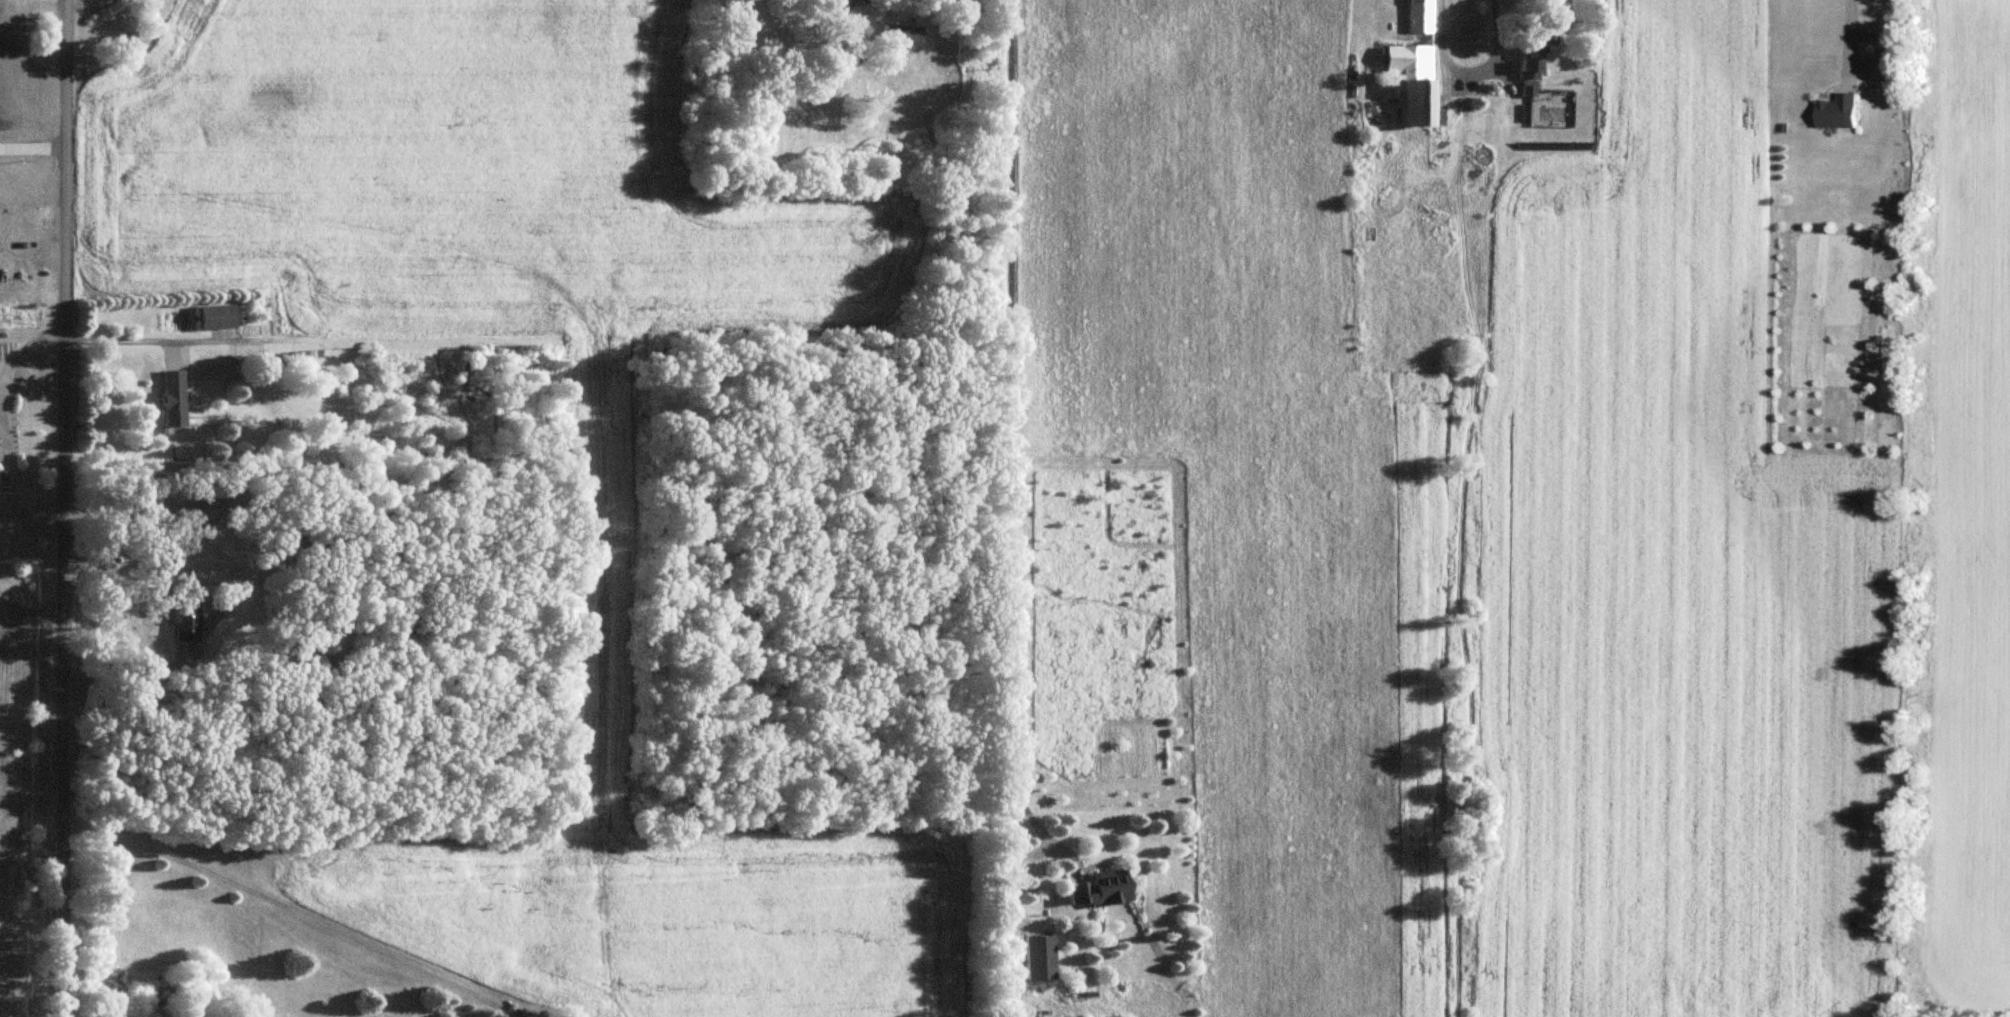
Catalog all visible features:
road: (81, 1)
building: (836, 2)
building: (1415, 15)
building: (898, 32)
road: (1845, 33)
building: (1529, 37)
road: (1466, 68)
building: (5, 77)
building: (1405, 79)
building: (1834, 109)
building: (217, 314)
road: (171, 339)
road: (24, 344)
building: (260, 359)
building: (169, 395)
road: (1009, 415)
road: (5, 471)
road: (63, 508)
road: (31, 512)
building: (1094, 887)
road: (294, 908)

